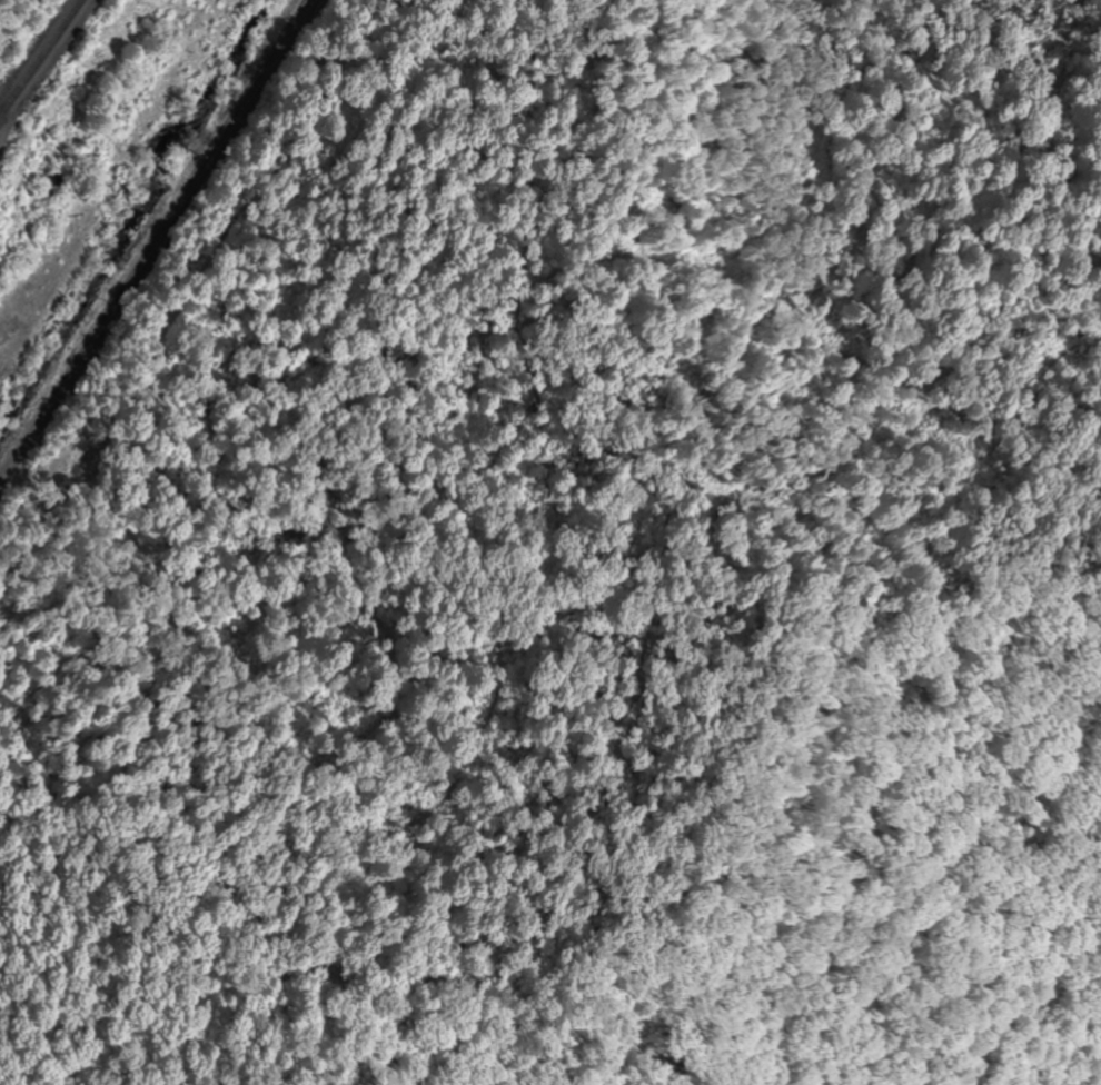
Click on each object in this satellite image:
railway: (37, 53)
road: (161, 242)

